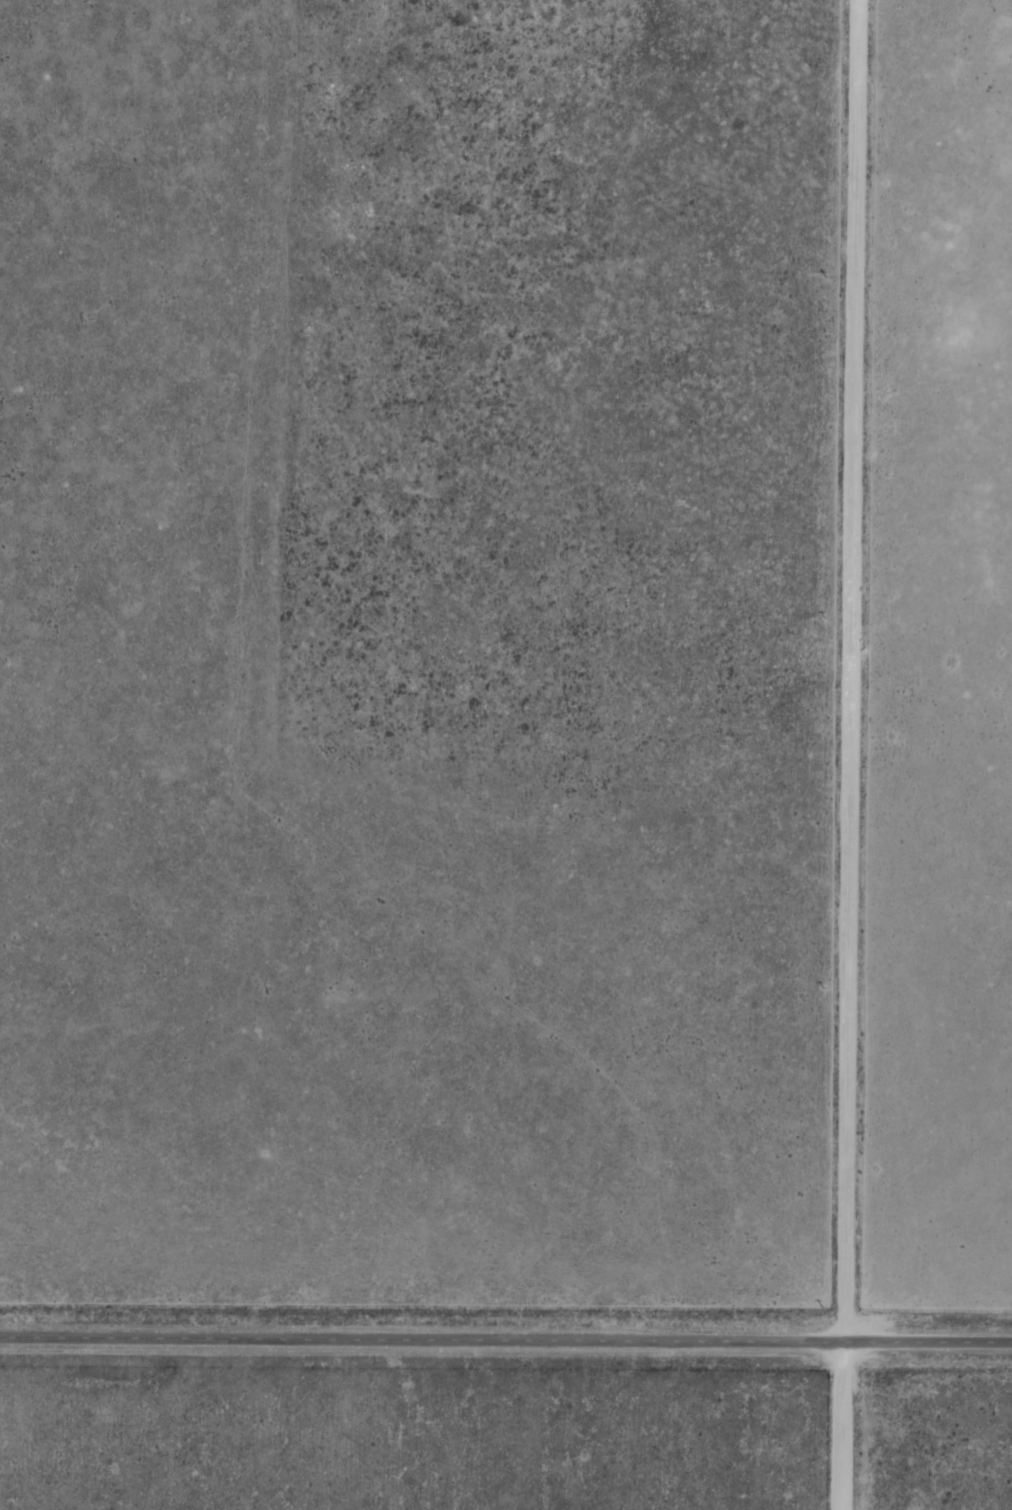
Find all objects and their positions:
road: (849, 754)
road: (506, 1342)

